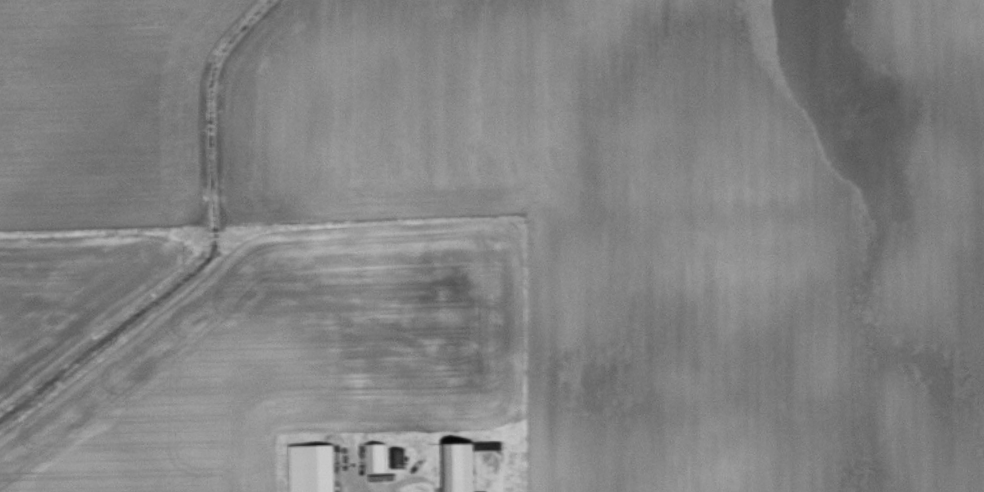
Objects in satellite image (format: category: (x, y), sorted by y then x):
building: (377, 455)
building: (462, 466)
building: (314, 467)

